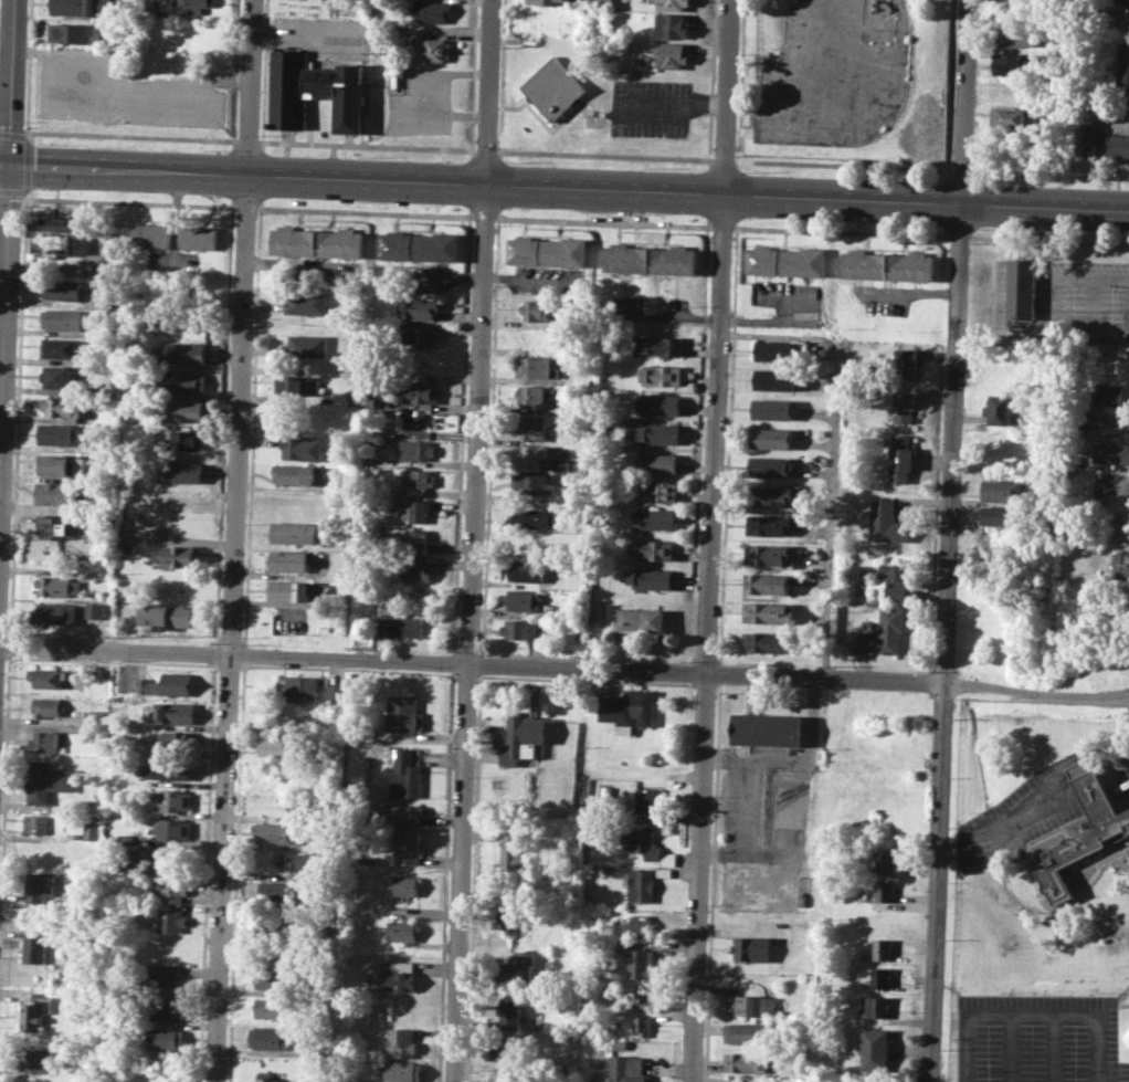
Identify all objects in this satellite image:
building: (551, 2)
building: (601, 2)
building: (1123, 2)
building: (673, 4)
building: (197, 6)
building: (83, 7)
building: (431, 10)
building: (1020, 12)
building: (672, 25)
building: (76, 33)
parking lot: (323, 35)
building: (1016, 36)
road: (308, 39)
building: (431, 48)
building: (672, 55)
building: (1015, 63)
building: (1122, 72)
road: (119, 84)
building: (555, 87)
building: (1012, 88)
parking lot: (119, 91)
building: (313, 91)
parking lot: (419, 99)
road: (964, 103)
road: (682, 104)
parking lot: (651, 108)
road: (442, 114)
building: (1010, 117)
street lamp: (27, 120)
street lamp: (258, 134)
road: (12, 135)
road: (28, 136)
road: (130, 136)
road: (247, 140)
building: (1104, 141)
street lamp: (51, 144)
road: (368, 146)
street lamp: (496, 147)
street lamp: (210, 149)
road: (487, 151)
street lamp: (363, 155)
road: (605, 156)
street lamp: (735, 156)
road: (724, 160)
street lamp: (510, 161)
road: (27, 166)
road: (843, 166)
traffic signals: (9, 167)
street lamp: (647, 167)
street lamp: (747, 171)
road: (962, 171)
road: (1052, 174)
street lamp: (877, 178)
street lamp: (989, 180)
road: (481, 185)
street lamp: (49, 189)
street lamp: (208, 195)
road: (127, 201)
street lamp: (360, 201)
street lamp: (21, 207)
road: (245, 207)
street lamp: (508, 208)
road: (1045, 209)
road: (365, 211)
street lamp: (262, 213)
street lamp: (646, 213)
road: (484, 216)
street lamp: (748, 218)
road: (602, 221)
street lamp: (876, 224)
street lamp: (494, 225)
road: (720, 227)
street lamp: (988, 229)
road: (840, 231)
building: (150, 234)
road: (958, 235)
building: (55, 237)
building: (197, 237)
road: (1048, 239)
building: (315, 241)
road: (7, 243)
street lamp: (970, 243)
building: (418, 245)
street lamp: (731, 245)
building: (546, 251)
building: (648, 259)
building: (783, 261)
building: (887, 265)
building: (1020, 287)
road: (1091, 287)
building: (62, 290)
building: (191, 295)
building: (307, 302)
parking lot: (1081, 302)
building: (418, 307)
building: (541, 309)
building: (63, 318)
building: (415, 335)
building: (307, 345)
building: (656, 345)
building: (62, 347)
building: (774, 349)
building: (188, 353)
building: (906, 363)
building: (532, 367)
building: (660, 376)
building: (60, 377)
building: (771, 379)
building: (186, 382)
building: (299, 386)
building: (416, 391)
building: (351, 395)
building: (1114, 395)
building: (530, 396)
building: (366, 402)
building: (657, 403)
building: (904, 407)
building: (64, 408)
building: (771, 409)
building: (996, 409)
building: (184, 410)
road: (18, 416)
building: (531, 427)
building: (648, 431)
building: (64, 434)
building: (771, 438)
building: (186, 439)
building: (300, 447)
building: (415, 450)
road: (834, 452)
building: (1110, 452)
building: (527, 456)
building: (900, 458)
building: (656, 462)
building: (60, 465)
building: (769, 466)
building: (182, 472)
building: (293, 474)
building: (415, 480)
building: (532, 484)
road: (293, 489)
building: (1001, 491)
building: (656, 492)
building: (56, 493)
building: (770, 495)
building: (413, 512)
building: (999, 516)
building: (534, 517)
building: (655, 517)
building: (885, 523)
building: (768, 524)
building: (55, 526)
building: (1121, 527)
building: (294, 533)
building: (415, 539)
road: (234, 540)
road: (472, 540)
road: (710, 540)
building: (653, 549)
building: (767, 553)
building: (181, 555)
building: (288, 560)
building: (1117, 565)
building: (415, 570)
building: (527, 570)
building: (651, 578)
building: (896, 580)
building: (767, 582)
building: (57, 586)
building: (289, 589)
building: (523, 600)
building: (95, 610)
building: (55, 612)
building: (769, 612)
building: (169, 614)
building: (641, 619)
building: (397, 622)
building: (520, 628)
building: (884, 632)
building: (766, 641)
road: (10, 644)
road: (947, 644)
road: (564, 665)
building: (45, 676)
building: (166, 683)
building: (299, 686)
building: (336, 693)
building: (45, 706)
building: (629, 708)
building: (178, 713)
building: (402, 713)
building: (307, 716)
building: (766, 729)
building: (521, 737)
building: (177, 738)
building: (46, 742)
road: (494, 742)
building: (274, 745)
road: (806, 753)
building: (171, 769)
building: (404, 773)
building: (49, 780)
road: (1123, 781)
road: (745, 784)
building: (605, 790)
building: (172, 798)
building: (648, 799)
road: (4, 800)
building: (298, 803)
road: (794, 811)
building: (403, 813)
parking lot: (1022, 816)
building: (39, 823)
road: (1001, 826)
building: (173, 829)
parking lot: (766, 829)
building: (1108, 829)
building: (92, 830)
building: (277, 832)
building: (127, 839)
building: (647, 847)
building: (408, 848)
road: (1122, 851)
building: (513, 852)
building: (146, 859)
building: (370, 859)
building: (889, 860)
building: (310, 863)
road: (1077, 870)
road: (794, 873)
building: (641, 884)
building: (407, 885)
building: (41, 887)
building: (173, 891)
building: (274, 891)
building: (888, 891)
road: (1040, 904)
building: (504, 920)
building: (172, 921)
building: (644, 927)
building: (402, 929)
building: (34, 946)
building: (882, 948)
building: (752, 949)
building: (640, 963)
building: (514, 973)
building: (162, 976)
building: (270, 977)
building: (399, 977)
building: (880, 977)
building: (642, 996)
building: (755, 1004)
road: (1122, 1005)
building: (877, 1007)
building: (168, 1008)
building: (271, 1008)
building: (36, 1010)
building: (507, 1013)
road: (1030, 1015)
building: (641, 1025)
building: (743, 1032)
building: (268, 1037)
building: (168, 1038)
parking lot: (1037, 1039)
building: (400, 1042)
building: (620, 1043)
road: (962, 1048)
road: (1007, 1048)
building: (505, 1049)
road: (1051, 1049)
road: (1097, 1049)
building: (876, 1050)
building: (34, 1061)
building: (747, 1062)
building: (627, 1069)
building: (400, 1071)
building: (500, 1075)
building: (267, 1076)

